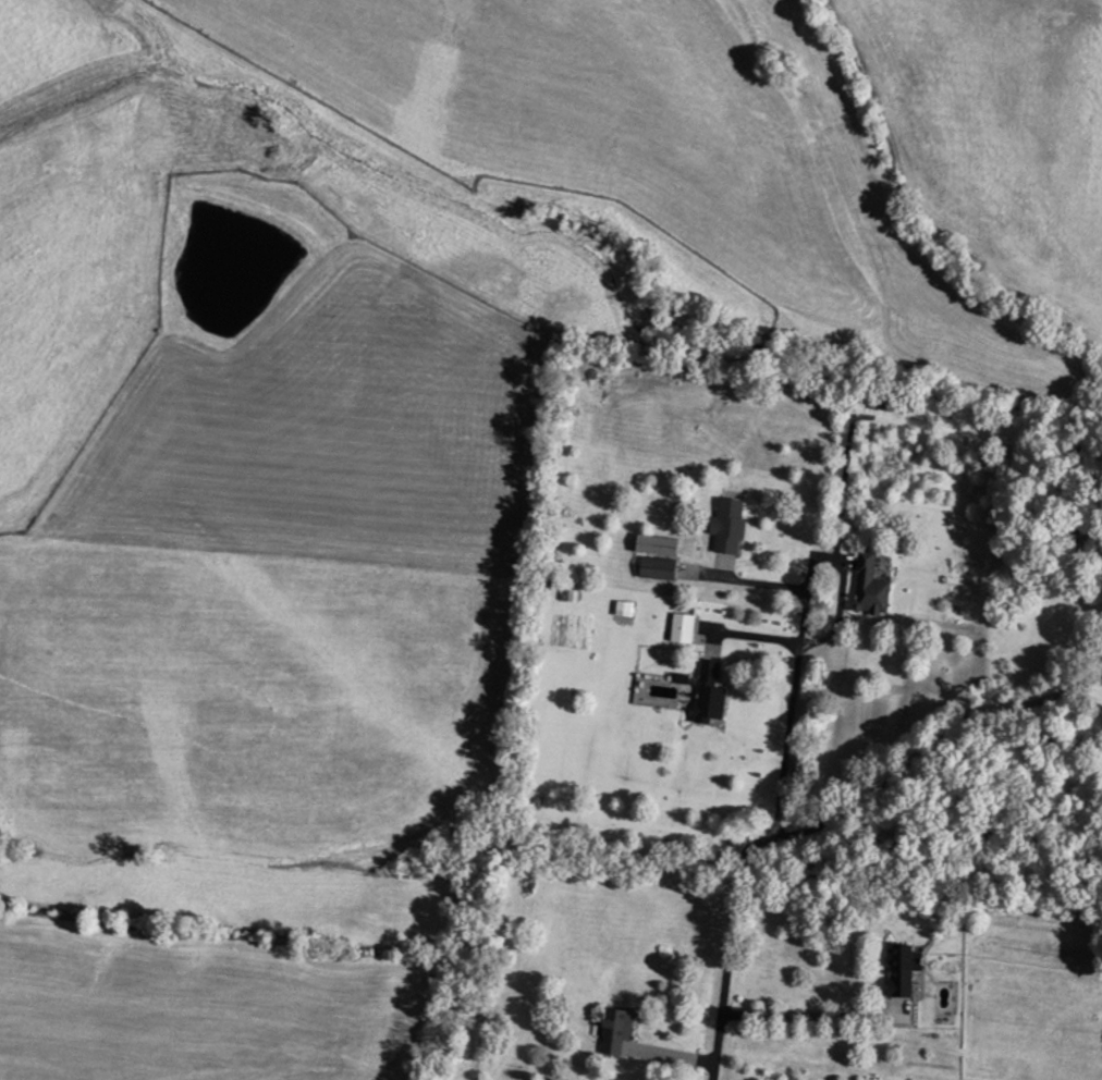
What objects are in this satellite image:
building: (731, 525)
building: (660, 568)
building: (871, 586)
building: (712, 690)
road: (773, 820)
building: (903, 969)
building: (619, 1030)

